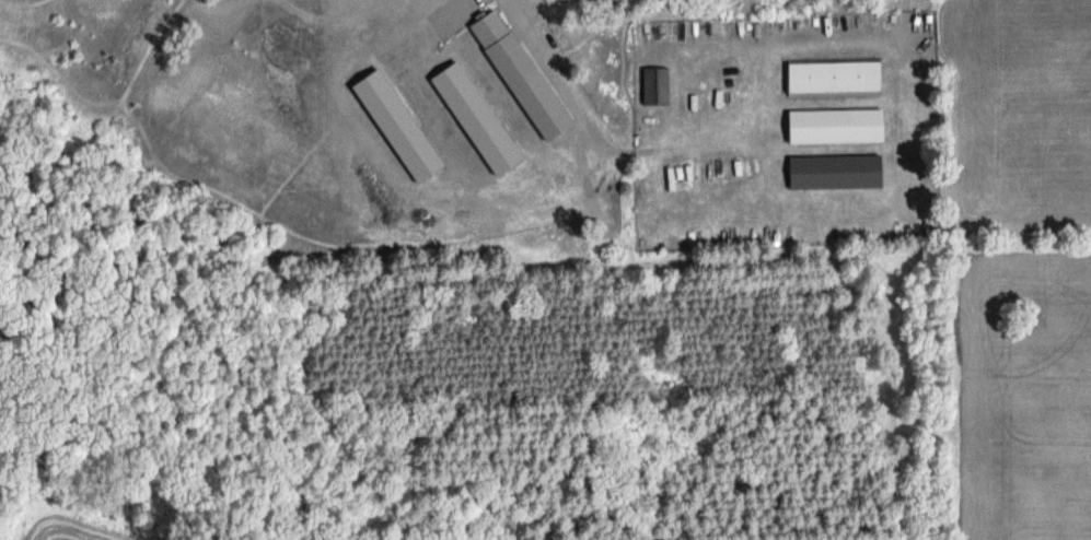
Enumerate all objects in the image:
building: (826, 79)
building: (650, 86)
building: (827, 127)
building: (828, 173)

